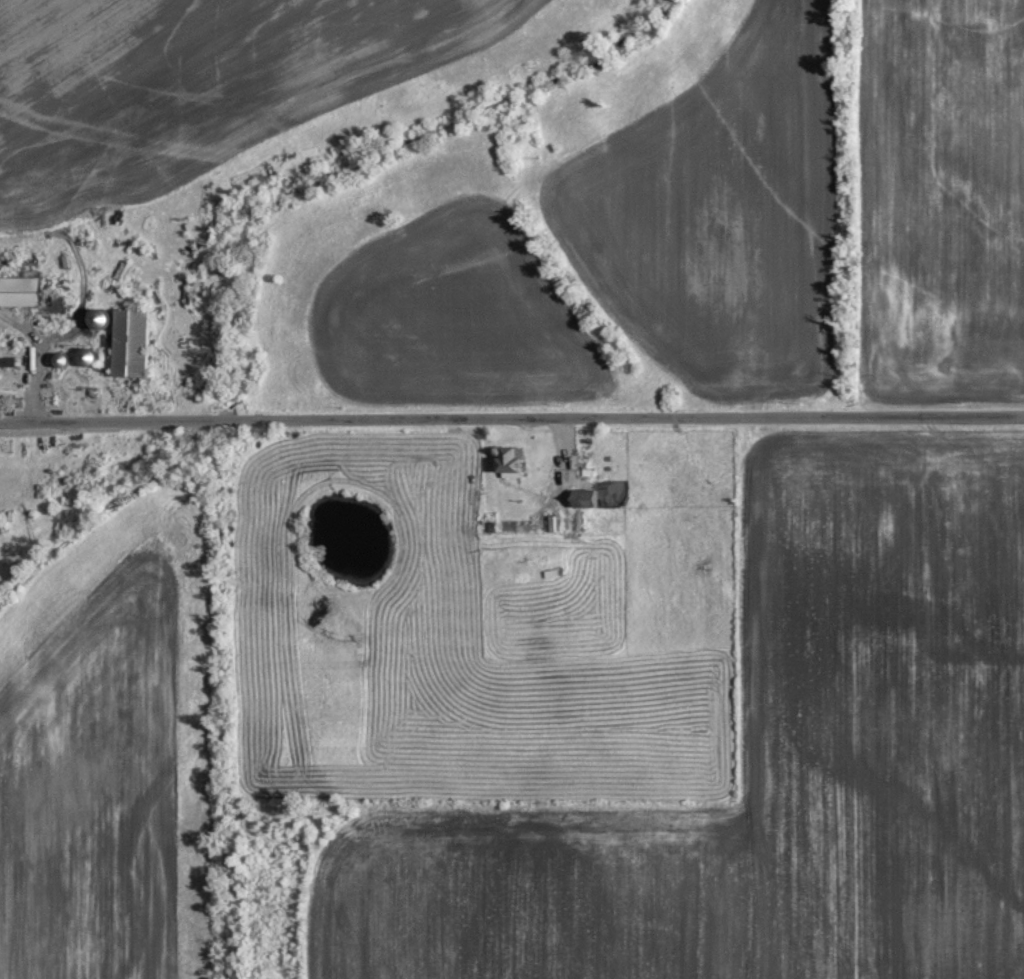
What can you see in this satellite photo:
building: (18, 289)
building: (94, 318)
building: (128, 340)
building: (6, 359)
road: (31, 362)
road: (512, 416)
building: (580, 496)

